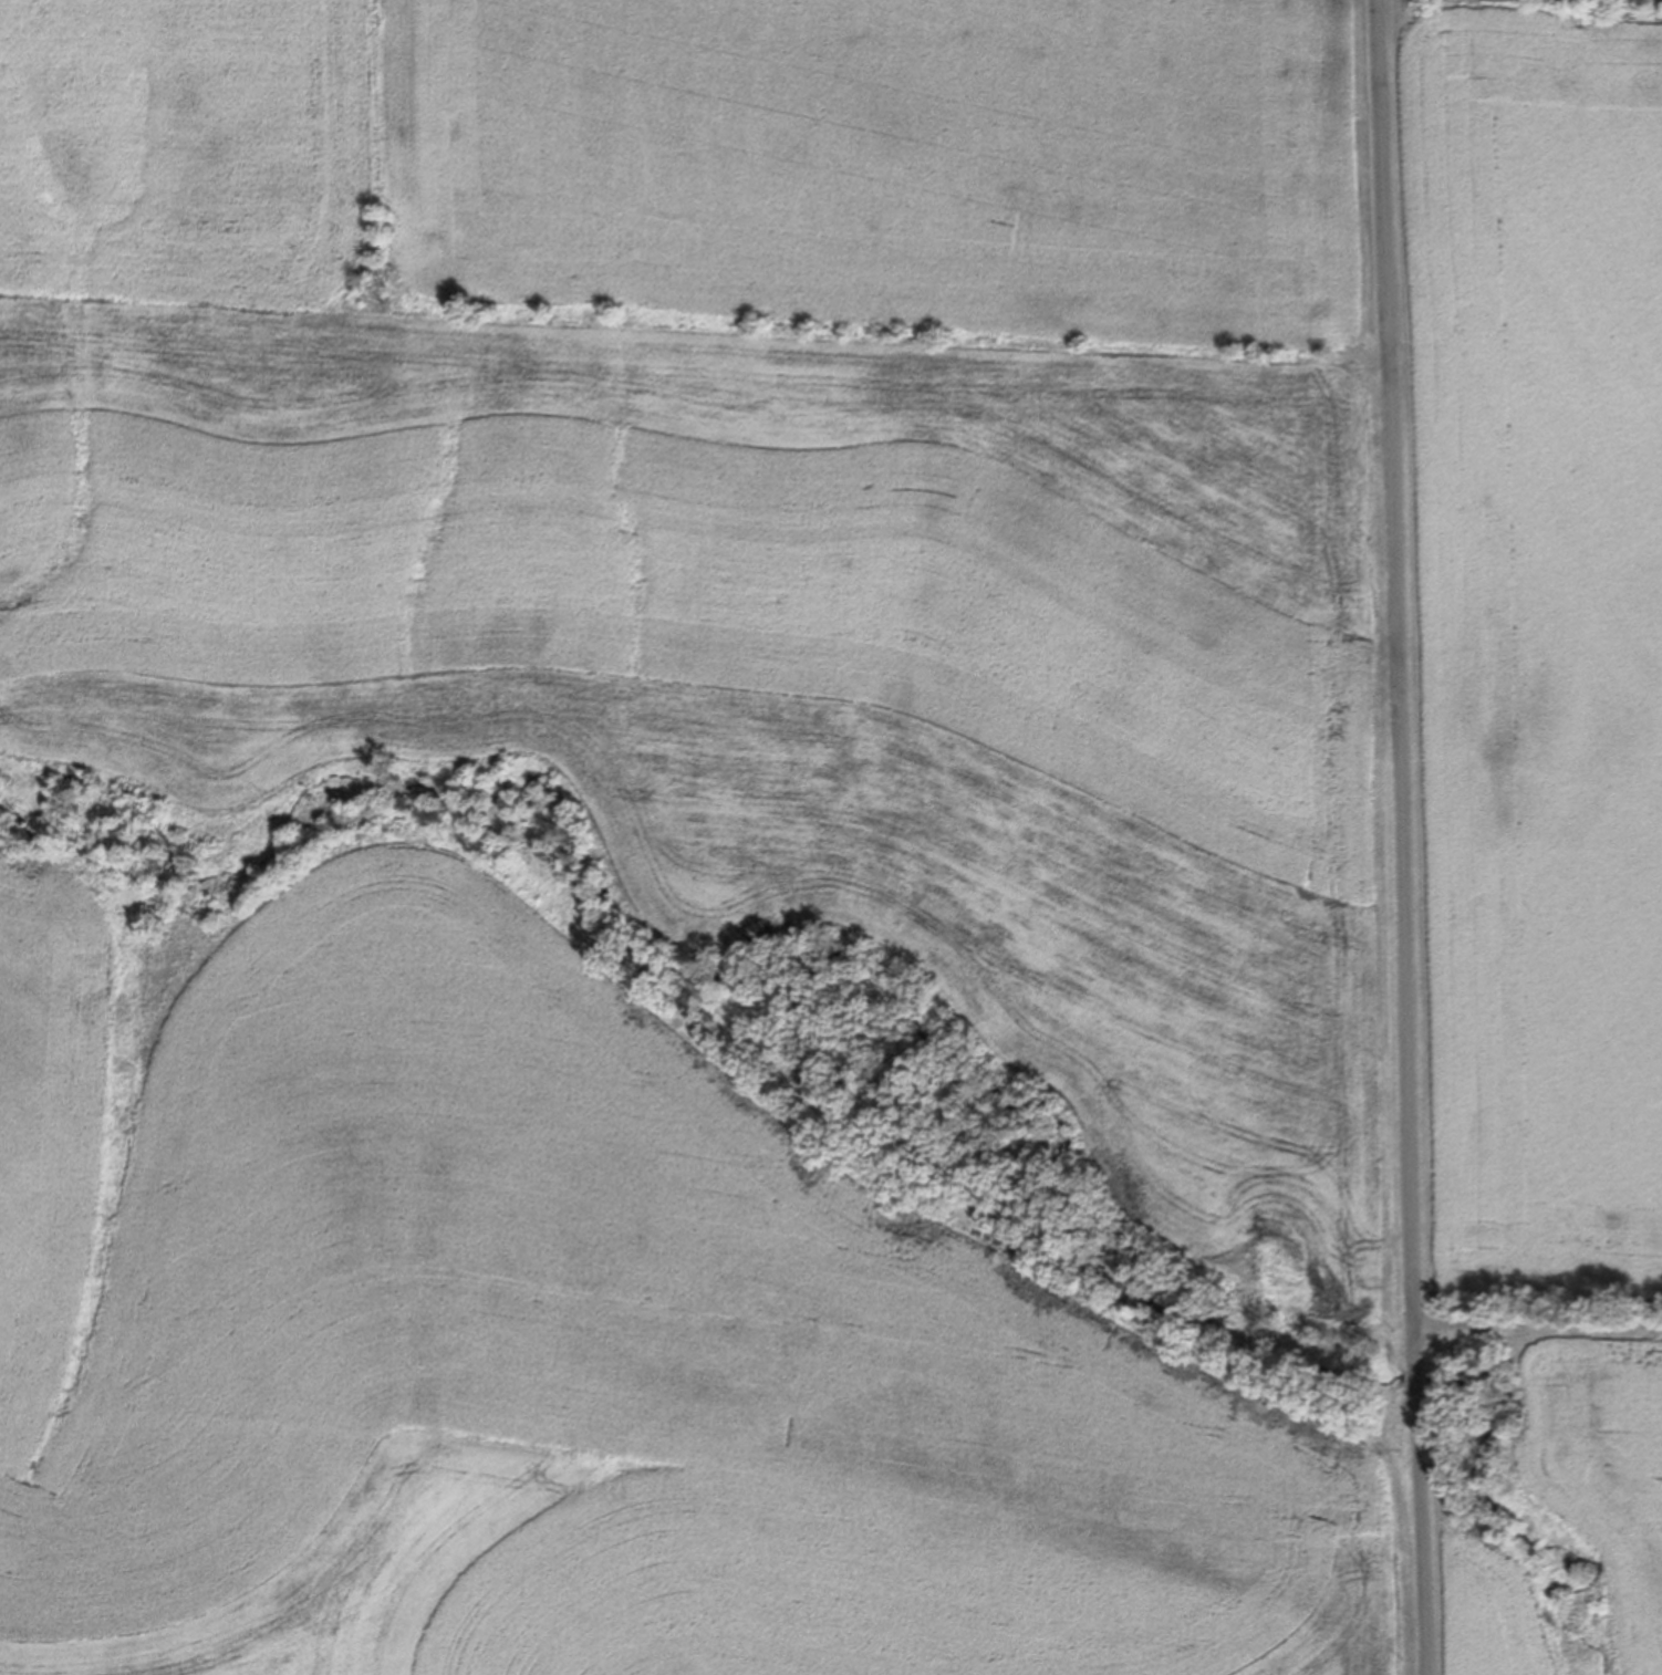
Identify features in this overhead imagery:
road: (1404, 836)
road: (1540, 1317)

